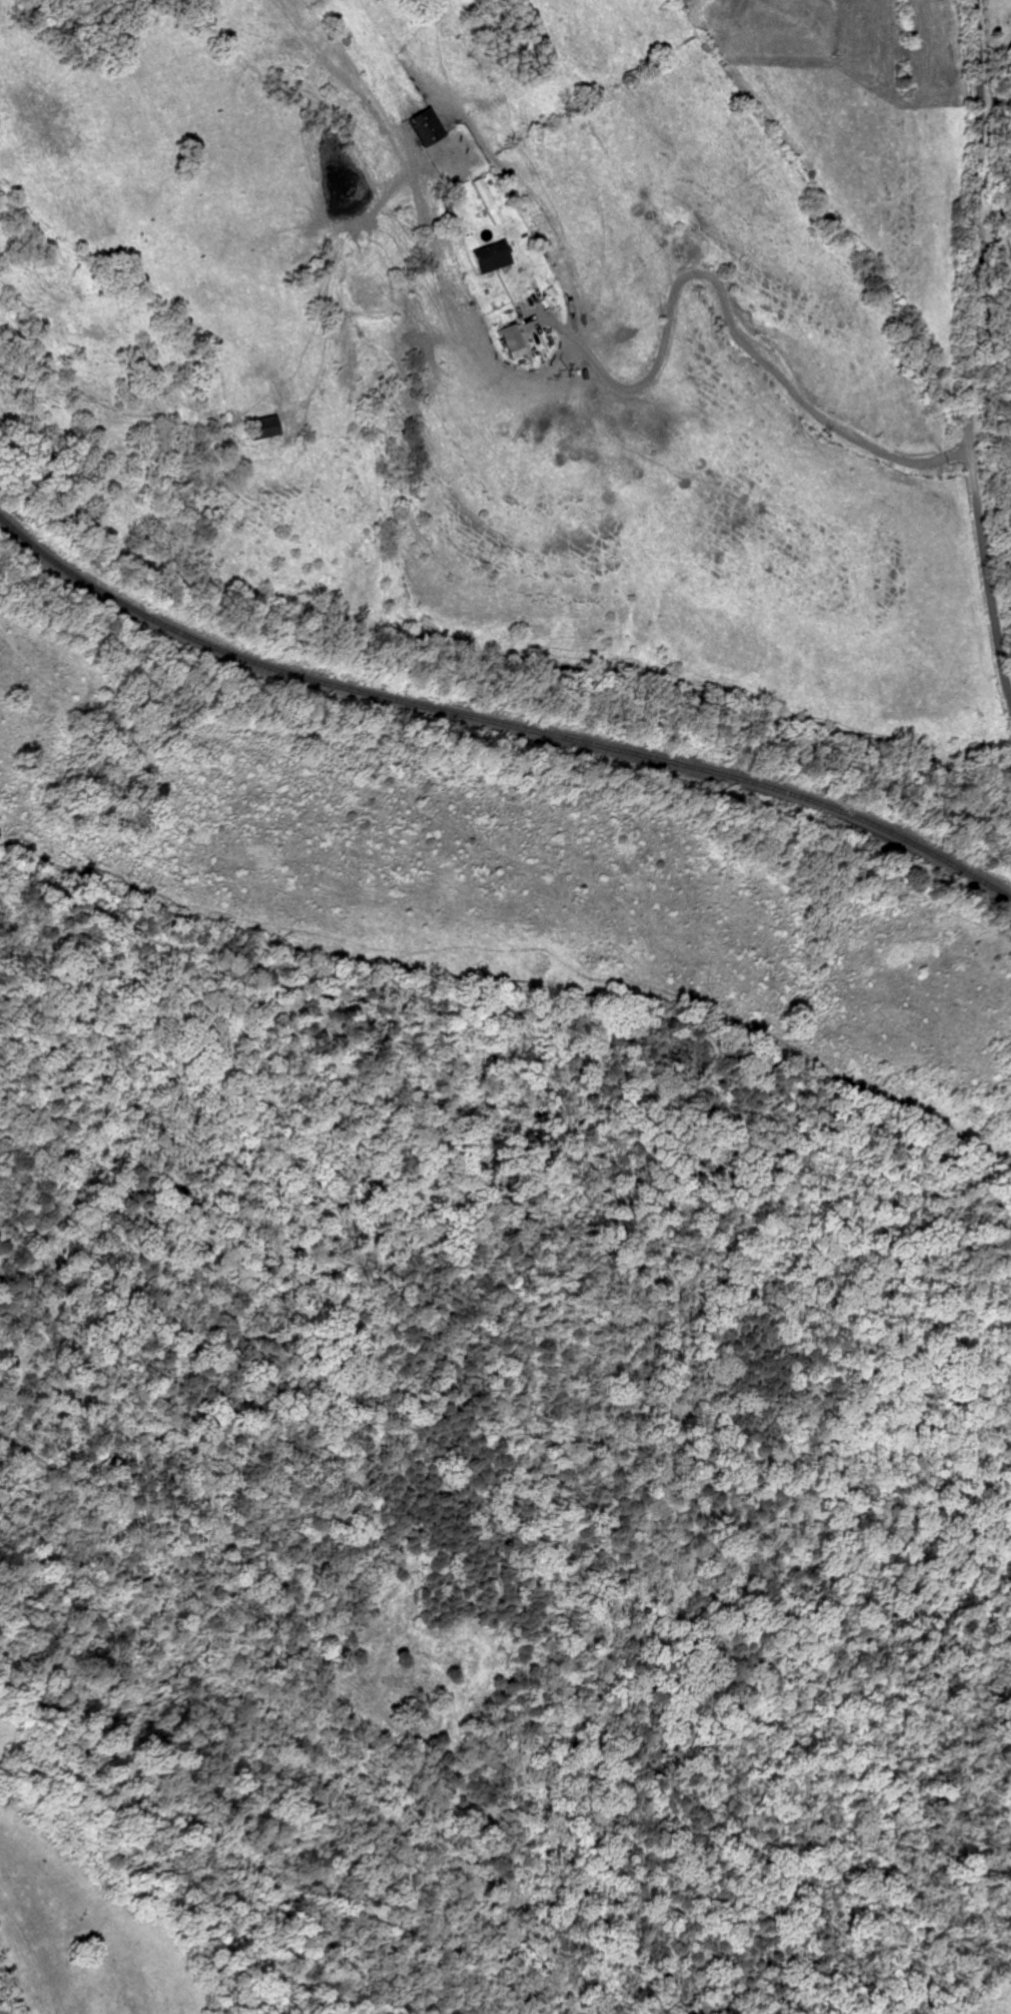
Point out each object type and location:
building: (425, 127)
road: (994, 249)
building: (490, 257)
road: (734, 327)
building: (512, 342)
road: (970, 350)
building: (262, 428)
railway: (497, 721)

